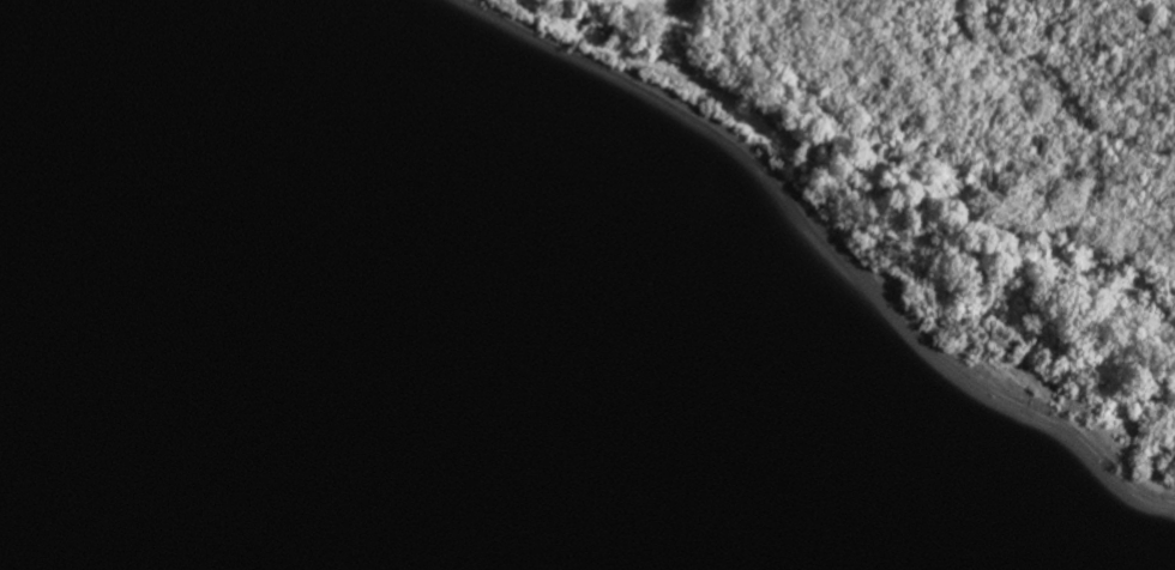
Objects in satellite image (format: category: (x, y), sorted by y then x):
river: (1, 568)

